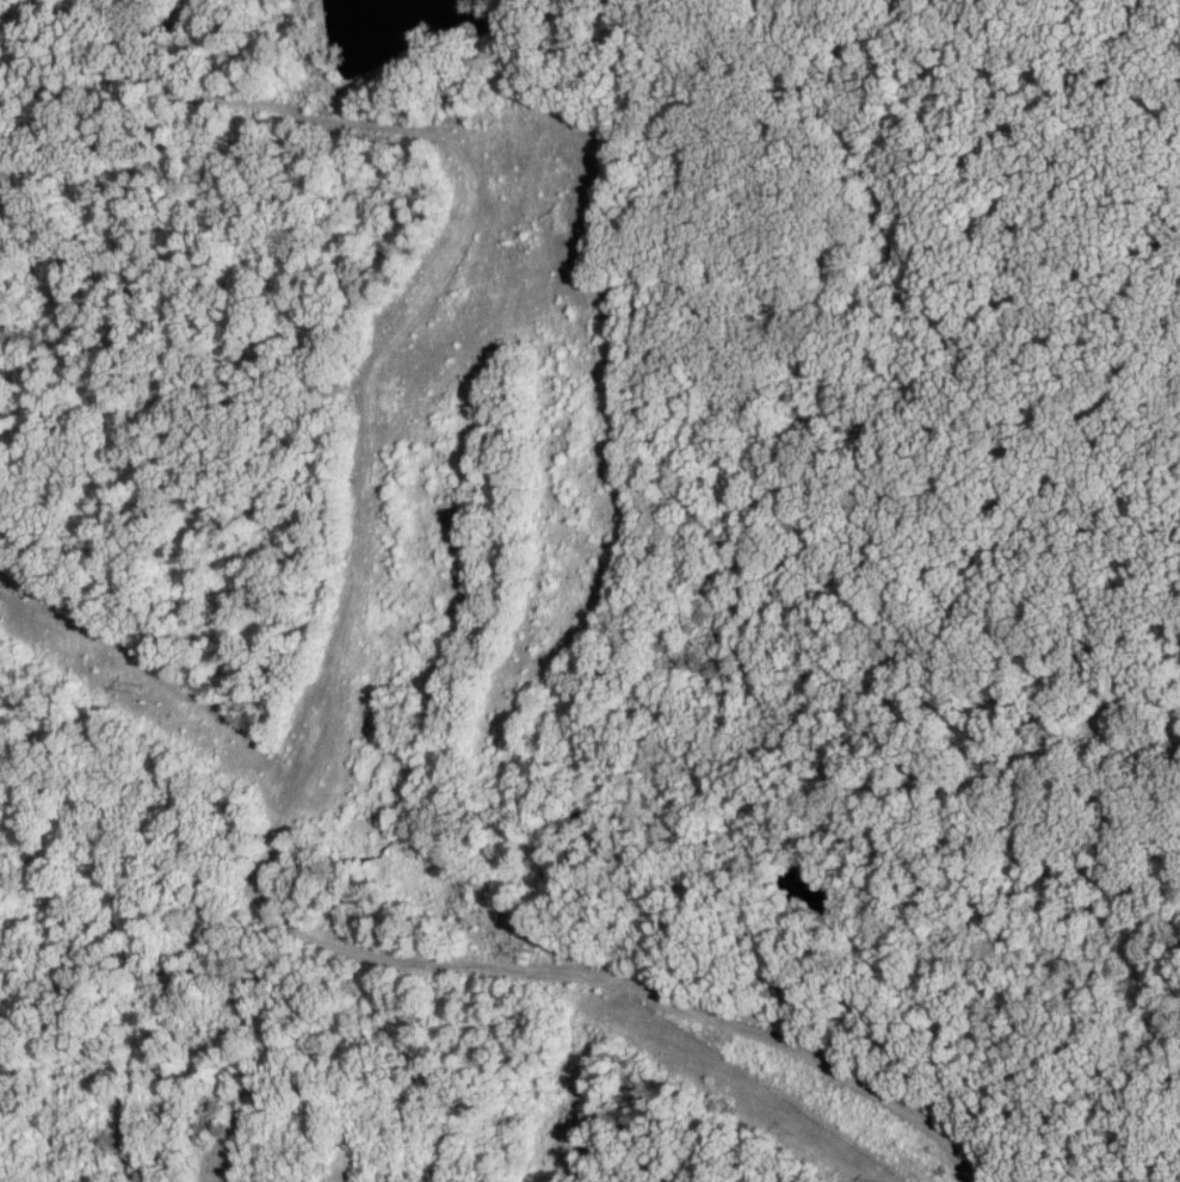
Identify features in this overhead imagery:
power tower: (129, 692)
power tower: (532, 957)
road: (711, 1017)

